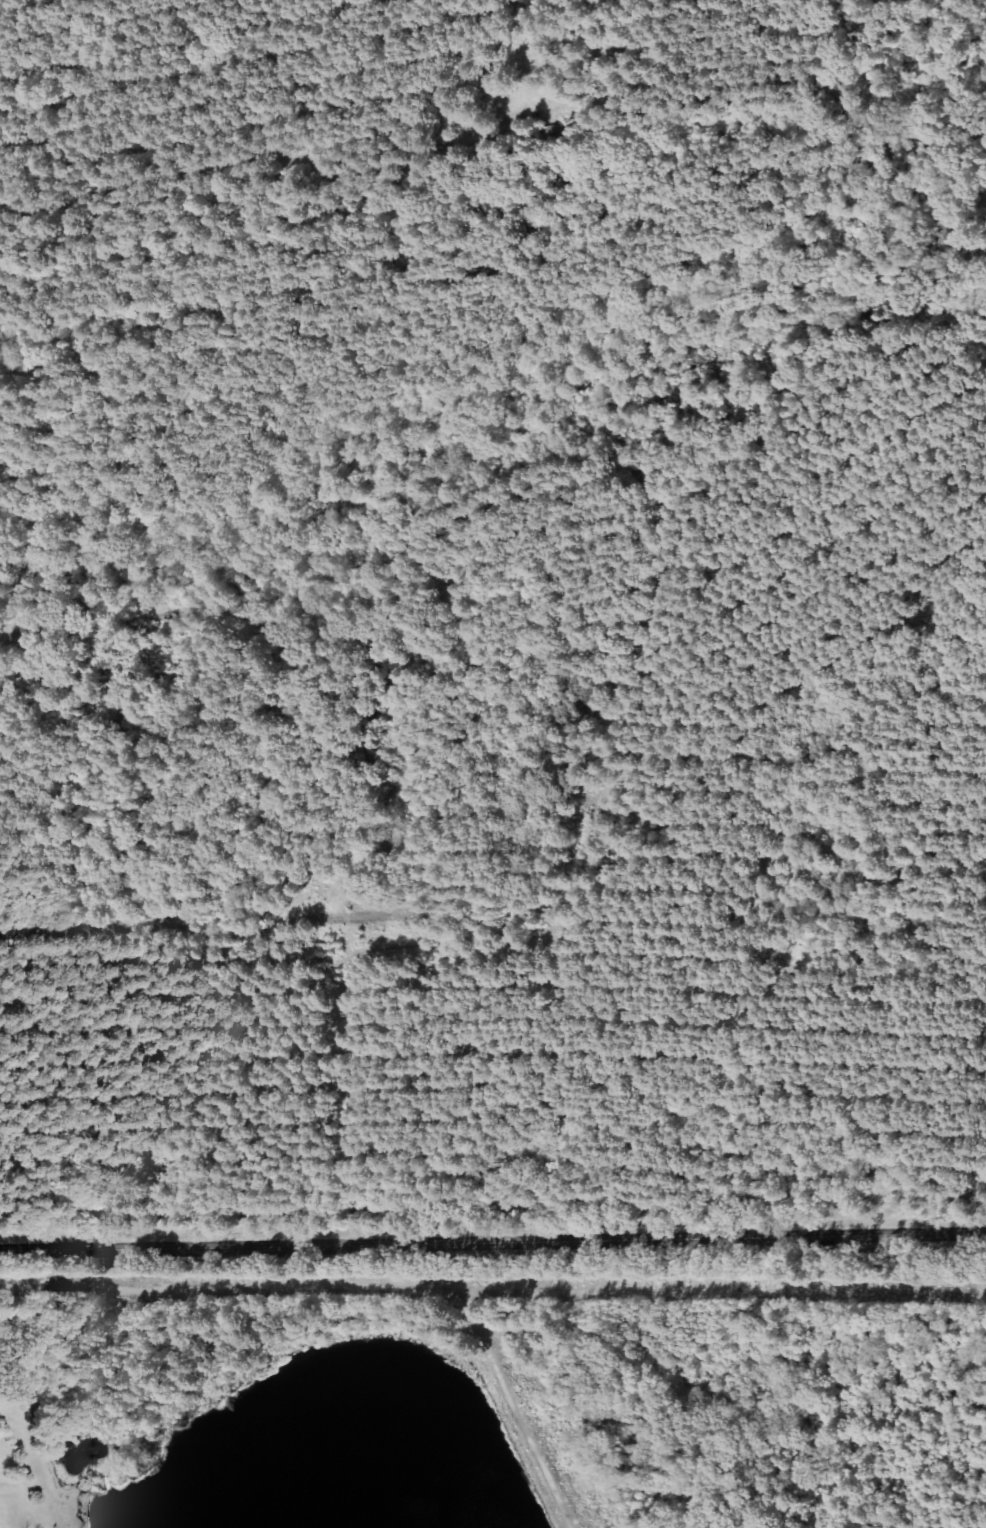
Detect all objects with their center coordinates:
road: (493, 1242)

